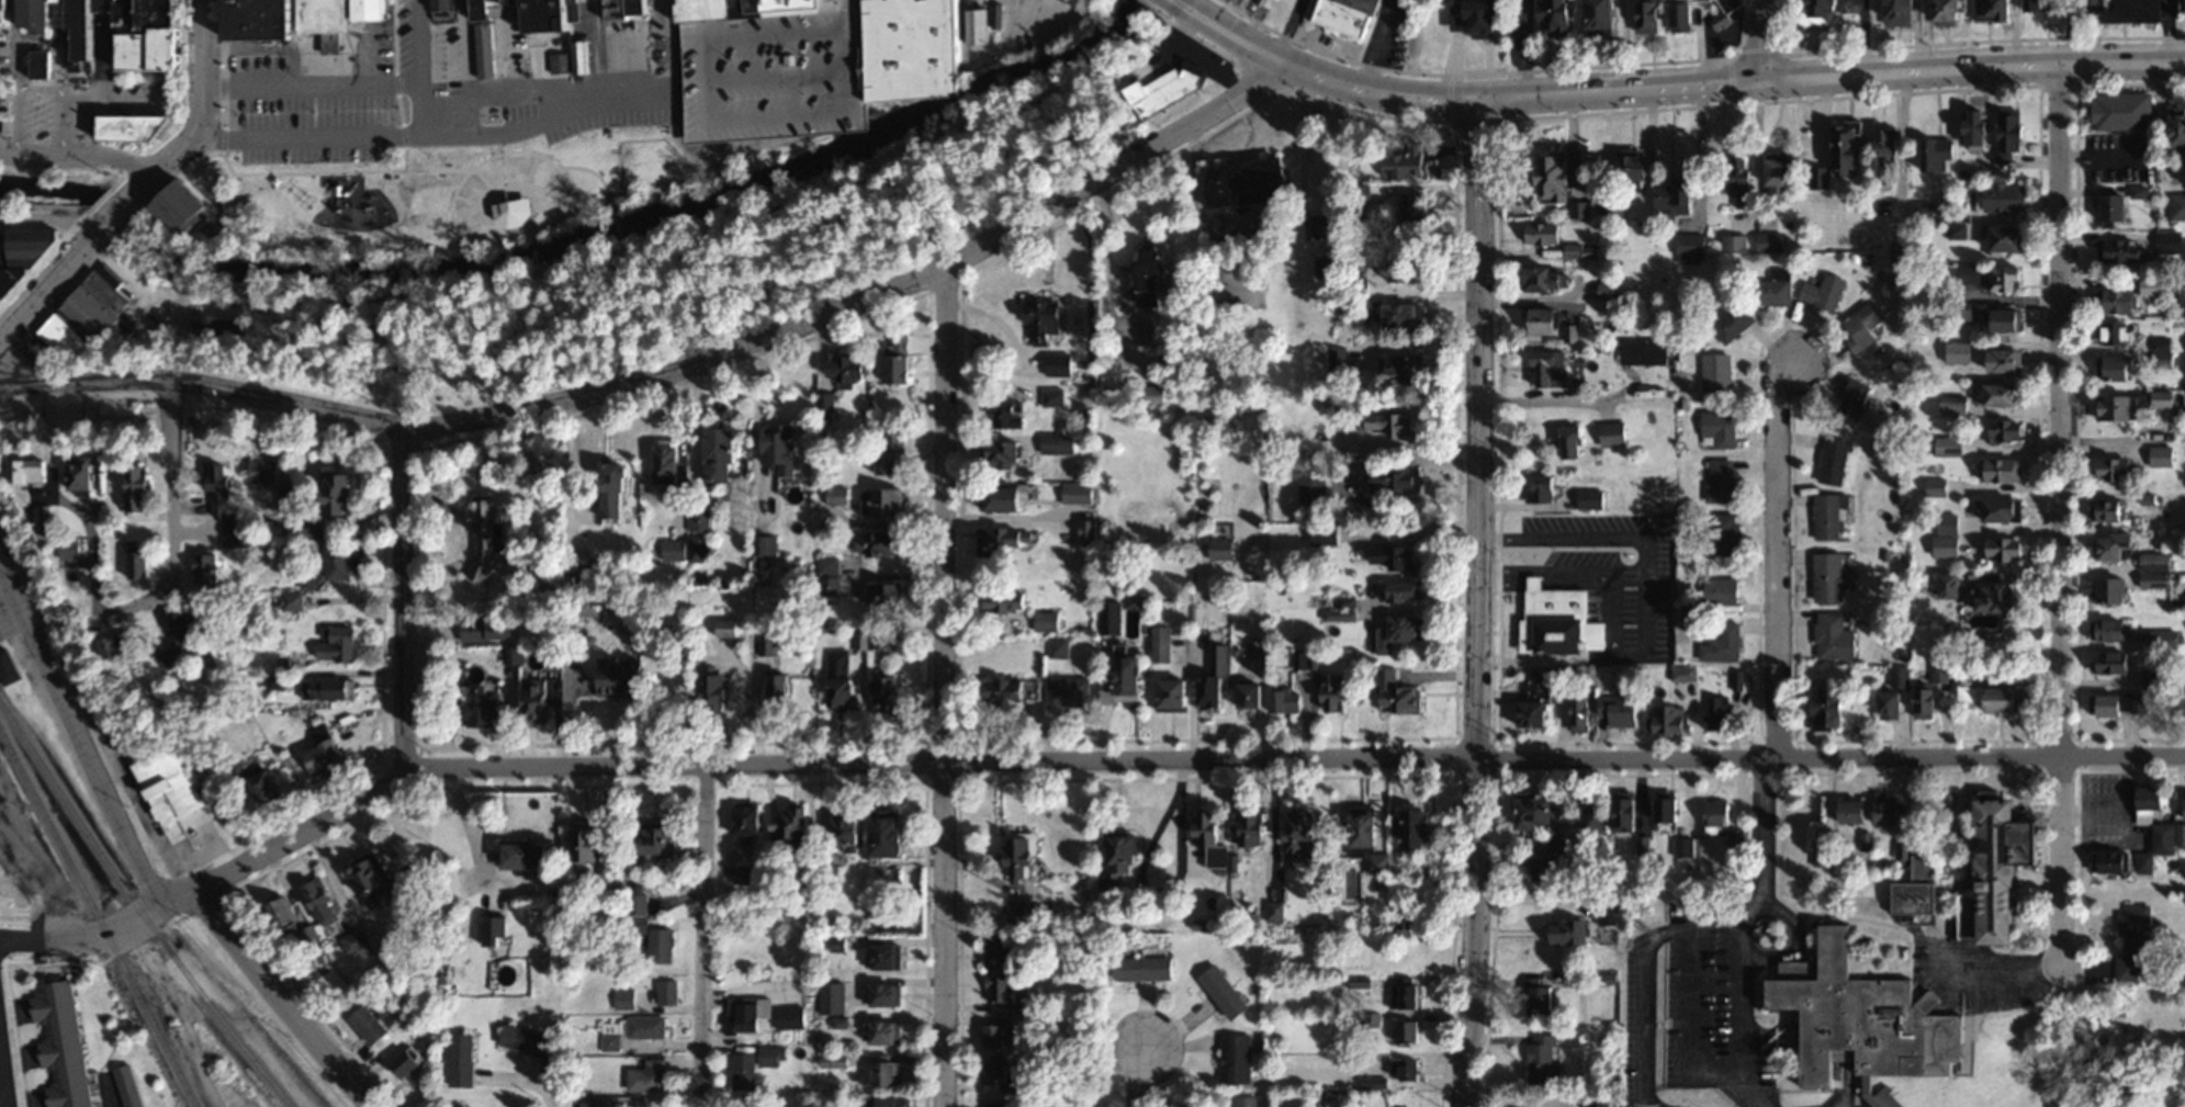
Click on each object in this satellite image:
building: (1733, 3)
building: (444, 4)
building: (628, 8)
building: (4, 10)
building: (373, 10)
building: (1994, 10)
building: (2126, 11)
park: (1260, 12)
building: (1823, 12)
building: (1903, 12)
building: (1950, 12)
road: (1238, 13)
building: (126, 14)
building: (1685, 14)
building: (40, 15)
building: (1604, 15)
building: (1648, 15)
building: (1344, 16)
building: (1493, 18)
building: (1554, 18)
building: (295, 20)
building: (987, 23)
road: (843, 24)
building: (88, 29)
road: (1239, 33)
building: (158, 38)
road: (1760, 41)
building: (717, 43)
building: (921, 49)
building: (486, 54)
building: (572, 58)
building: (43, 63)
road: (1970, 66)
building: (1170, 86)
road: (1618, 89)
road: (1383, 91)
road: (205, 100)
building: (2122, 110)
road: (565, 127)
building: (2178, 127)
building: (138, 128)
building: (1978, 128)
building: (2012, 129)
road: (374, 134)
building: (1888, 142)
building: (1847, 148)
road: (81, 151)
building: (1938, 155)
road: (76, 160)
building: (1409, 162)
building: (1633, 165)
road: (585, 167)
building: (1557, 178)
building: (1782, 178)
building: (1249, 182)
building: (1739, 182)
road: (605, 183)
park: (439, 192)
building: (2007, 196)
building: (1675, 199)
building: (1612, 206)
building: (2177, 206)
building: (2117, 207)
building: (191, 208)
building: (1578, 208)
road: (113, 213)
building: (1415, 217)
road: (617, 224)
building: (1326, 226)
building: (1544, 233)
river: (584, 236)
building: (2008, 239)
building: (1771, 241)
building: (2169, 241)
road: (645, 242)
building: (1734, 242)
building: (1691, 248)
building: (2129, 248)
building: (1580, 250)
building: (24, 258)
park: (689, 260)
building: (1326, 266)
building: (1409, 269)
building: (1161, 271)
building: (1973, 273)
building: (1548, 279)
building: (2009, 279)
building: (1775, 289)
building: (1610, 290)
building: (1825, 291)
road: (38, 293)
building: (2121, 301)
building: (89, 309)
building: (1404, 316)
building: (1044, 318)
building: (2009, 320)
building: (1732, 321)
building: (1553, 324)
building: (1861, 327)
building: (225, 329)
building: (1145, 331)
building: (2118, 332)
building: (1646, 351)
building: (1961, 352)
building: (2163, 352)
building: (1338, 360)
building: (2008, 361)
building: (848, 368)
building: (1401, 368)
building: (1553, 368)
building: (2116, 368)
building: (901, 369)
road: (676, 371)
building: (1716, 372)
building: (1150, 394)
building: (2006, 394)
building: (1052, 396)
building: (1856, 398)
building: (2164, 399)
building: (1957, 405)
building: (2118, 408)
building: (1007, 413)
building: (1396, 423)
building: (1719, 429)
building: (2008, 431)
building: (1613, 433)
building: (1057, 442)
building: (1574, 442)
building: (1950, 445)
building: (781, 448)
building: (888, 453)
building: (1001, 454)
building: (2159, 455)
building: (723, 456)
building: (1834, 460)
building: (669, 462)
building: (2108, 467)
building: (2005, 470)
building: (263, 471)
building: (40, 472)
building: (88, 474)
building: (1397, 478)
building: (1722, 482)
building: (1311, 486)
building: (139, 487)
building: (1543, 488)
building: (619, 489)
building: (340, 493)
building: (767, 493)
building: (1079, 493)
building: (284, 498)
building: (1010, 498)
building: (1591, 499)
building: (885, 502)
building: (227, 507)
building: (2103, 508)
building: (1989, 509)
road: (2061, 509)
road: (169, 516)
building: (675, 516)
building: (1831, 516)
building: (699, 520)
building: (308, 527)
building: (1090, 531)
building: (486, 533)
building: (1324, 533)
building: (1723, 533)
building: (1969, 541)
building: (1009, 542)
building: (881, 544)
building: (764, 545)
building: (2104, 545)
building: (78, 547)
building: (696, 547)
building: (1221, 549)
building: (674, 550)
road: (1776, 555)
building: (1389, 556)
building: (339, 560)
building: (142, 565)
building: (205, 568)
building: (2151, 569)
building: (830, 576)
building: (1831, 576)
building: (1941, 579)
building: (307, 581)
building: (1722, 589)
building: (2103, 589)
building: (1409, 591)
building: (888, 596)
building: (289, 600)
building: (1991, 600)
road: (405, 601)
building: (1006, 601)
road: (1479, 601)
building: (1104, 619)
building: (1047, 621)
building: (1561, 621)
building: (729, 626)
building: (185, 628)
building: (487, 629)
building: (2100, 629)
building: (1403, 632)
building: (1832, 635)
building: (1160, 643)
building: (1724, 643)
building: (340, 644)
building: (766, 644)
building: (126, 645)
building: (1254, 647)
building: (176, 657)
building: (2104, 662)
building: (1937, 669)
building: (1129, 671)
building: (1683, 673)
building: (1215, 674)
building: (622, 675)
building: (2149, 676)
building: (274, 679)
building: (714, 687)
road: (945, 687)
building: (327, 689)
building: (780, 689)
building: (1012, 690)
building: (1068, 690)
building: (1176, 691)
building: (845, 692)
building: (1253, 692)
building: (1336, 692)
building: (892, 693)
building: (1398, 693)
building: (1285, 698)
building: (1987, 698)
building: (537, 701)
building: (1538, 701)
building: (1919, 701)
building: (1881, 702)
building: (2114, 702)
building: (2176, 702)
building: (484, 707)
building: (1620, 709)
building: (1828, 709)
building: (1583, 712)
building: (1716, 713)
building: (1669, 719)
road: (79, 733)
building: (327, 756)
road: (1831, 757)
road: (717, 765)
building: (264, 784)
building: (170, 786)
building: (2180, 805)
building: (1669, 806)
building: (1540, 809)
building: (1629, 812)
building: (2139, 813)
building: (1716, 814)
building: (750, 818)
building: (1592, 820)
building: (796, 826)
building: (1252, 826)
building: (1419, 826)
building: (1370, 827)
building: (851, 828)
building: (1300, 831)
building: (891, 833)
building: (1212, 835)
building: (663, 838)
building: (1683, 846)
building: (1900, 849)
building: (526, 852)
building: (1024, 854)
building: (600, 855)
building: (1550, 860)
building: (2105, 860)
building: (1123, 861)
building: (1984, 867)
railway: (4, 870)
building: (746, 873)
building: (373, 880)
building: (322, 901)
building: (639, 903)
building: (286, 912)
building: (1279, 914)
railway: (95, 920)
road: (1687, 923)
road: (702, 928)
building: (497, 929)
building: (1568, 931)
building: (356, 940)
building: (2129, 940)
building: (662, 944)
road: (1783, 951)
building: (998, 952)
building: (888, 954)
building: (1144, 967)
road: (1997, 969)
building: (1000, 986)
building: (665, 990)
building: (1224, 991)
building: (887, 993)
building: (1539, 993)
building: (1405, 995)
building: (622, 996)
road: (283, 1001)
building: (748, 1013)
building: (790, 1015)
building: (1867, 1016)
building: (370, 1024)
building: (630, 1029)
building: (999, 1030)
building: (887, 1031)
building: (1410, 1031)
building: (527, 1039)
building: (64, 1043)
building: (773, 1054)
building: (1237, 1057)
building: (460, 1059)
building: (1544, 1060)
building: (408, 1061)
building: (1003, 1068)
building: (1404, 1068)
building: (744, 1070)
building: (891, 1072)
building: (647, 1075)
road: (1140, 1076)
road: (525, 1078)
road: (3, 1083)
building: (129, 1085)
building: (1888, 1098)
building: (897, 1099)
building: (1243, 1100)
building: (588, 1104)
building: (999, 1104)
building: (463, 1105)
road: (3, 1106)

